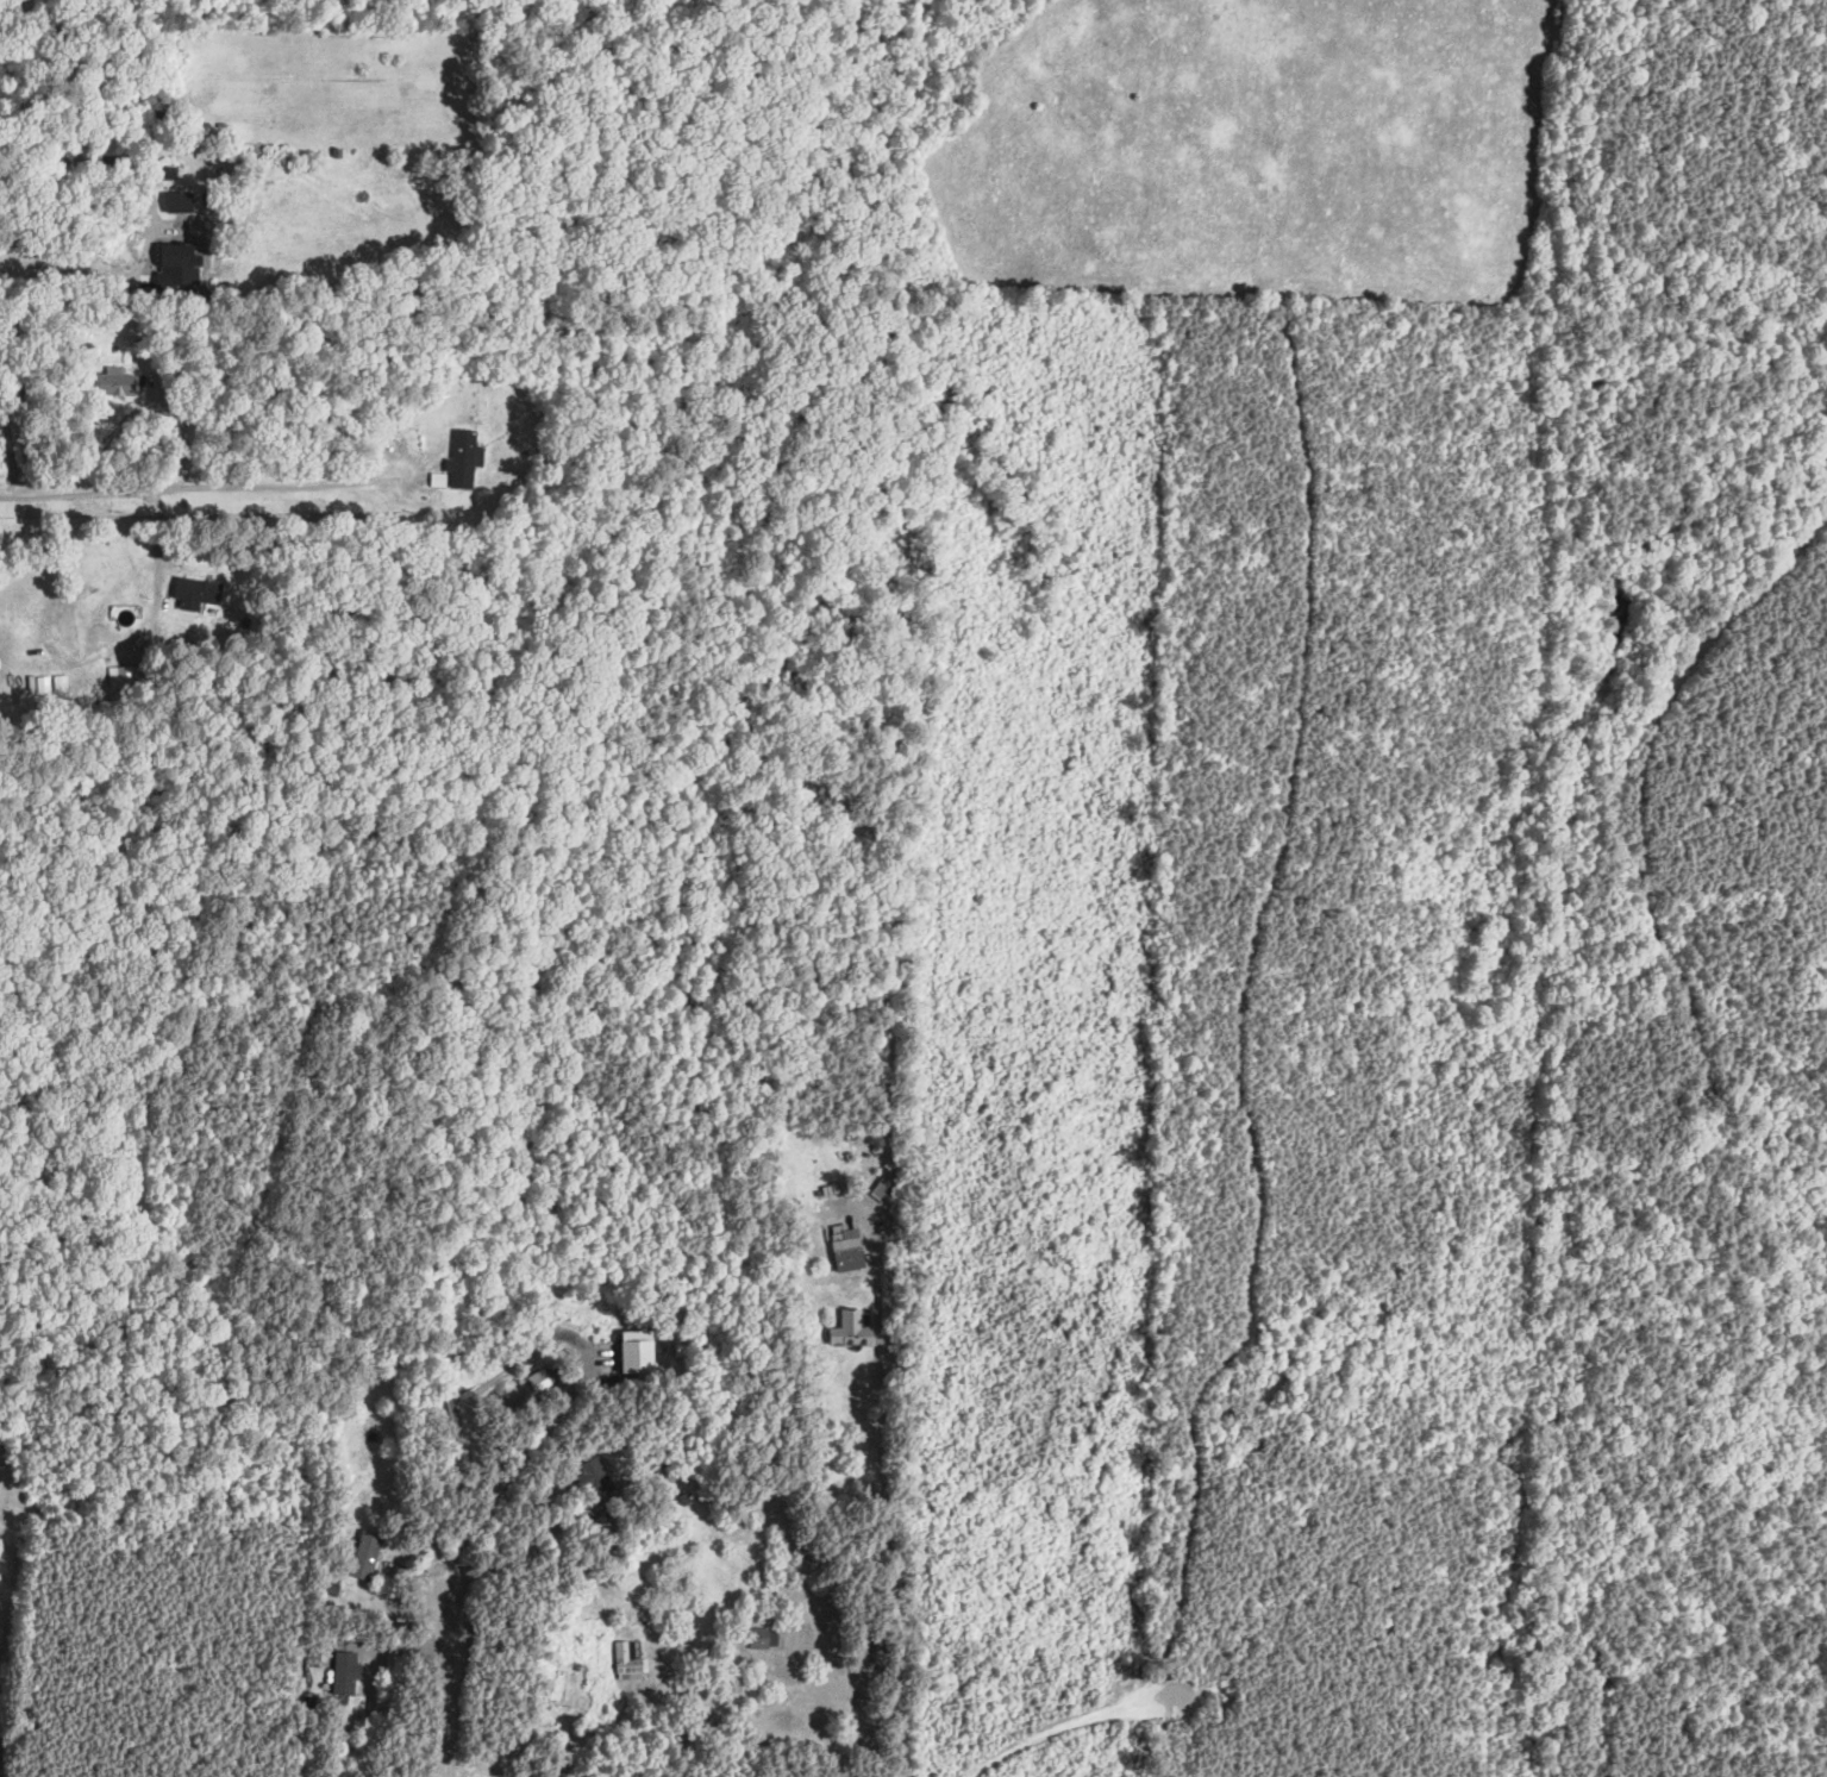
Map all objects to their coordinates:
building: (180, 202)
road: (215, 221)
building: (176, 254)
building: (115, 383)
building: (464, 459)
road: (212, 487)
building: (196, 592)
building: (121, 676)
road: (1237, 1009)
building: (882, 1189)
building: (847, 1247)
building: (851, 1331)
building: (637, 1352)
road: (583, 1371)
building: (543, 1378)
building: (592, 1477)
road: (1406, 1519)
building: (365, 1556)
road: (1491, 1610)
building: (763, 1638)
building: (863, 1647)
building: (875, 1648)
building: (627, 1660)
road: (827, 1663)
building: (346, 1671)
road: (446, 1684)
building: (699, 1702)
road: (1062, 1725)
road: (866, 1729)

